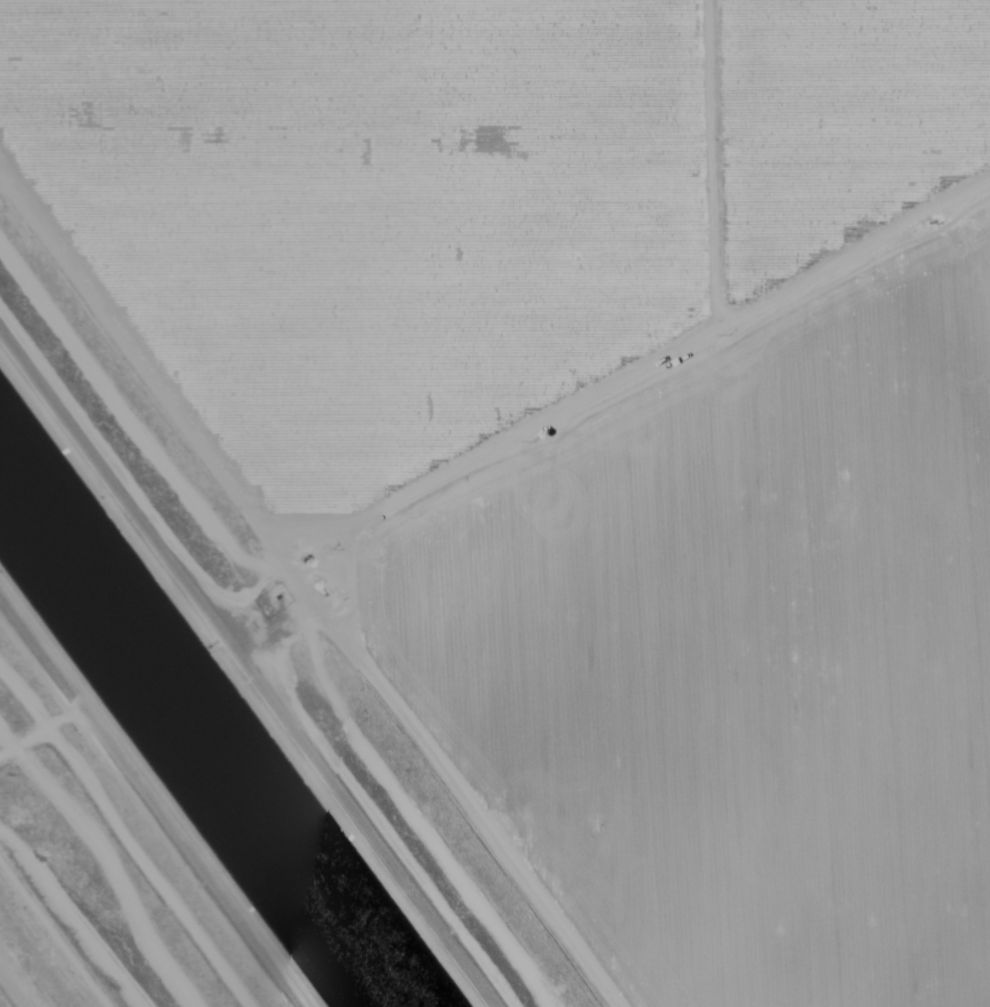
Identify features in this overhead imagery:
crop: (627, 413)
road: (31, 963)

